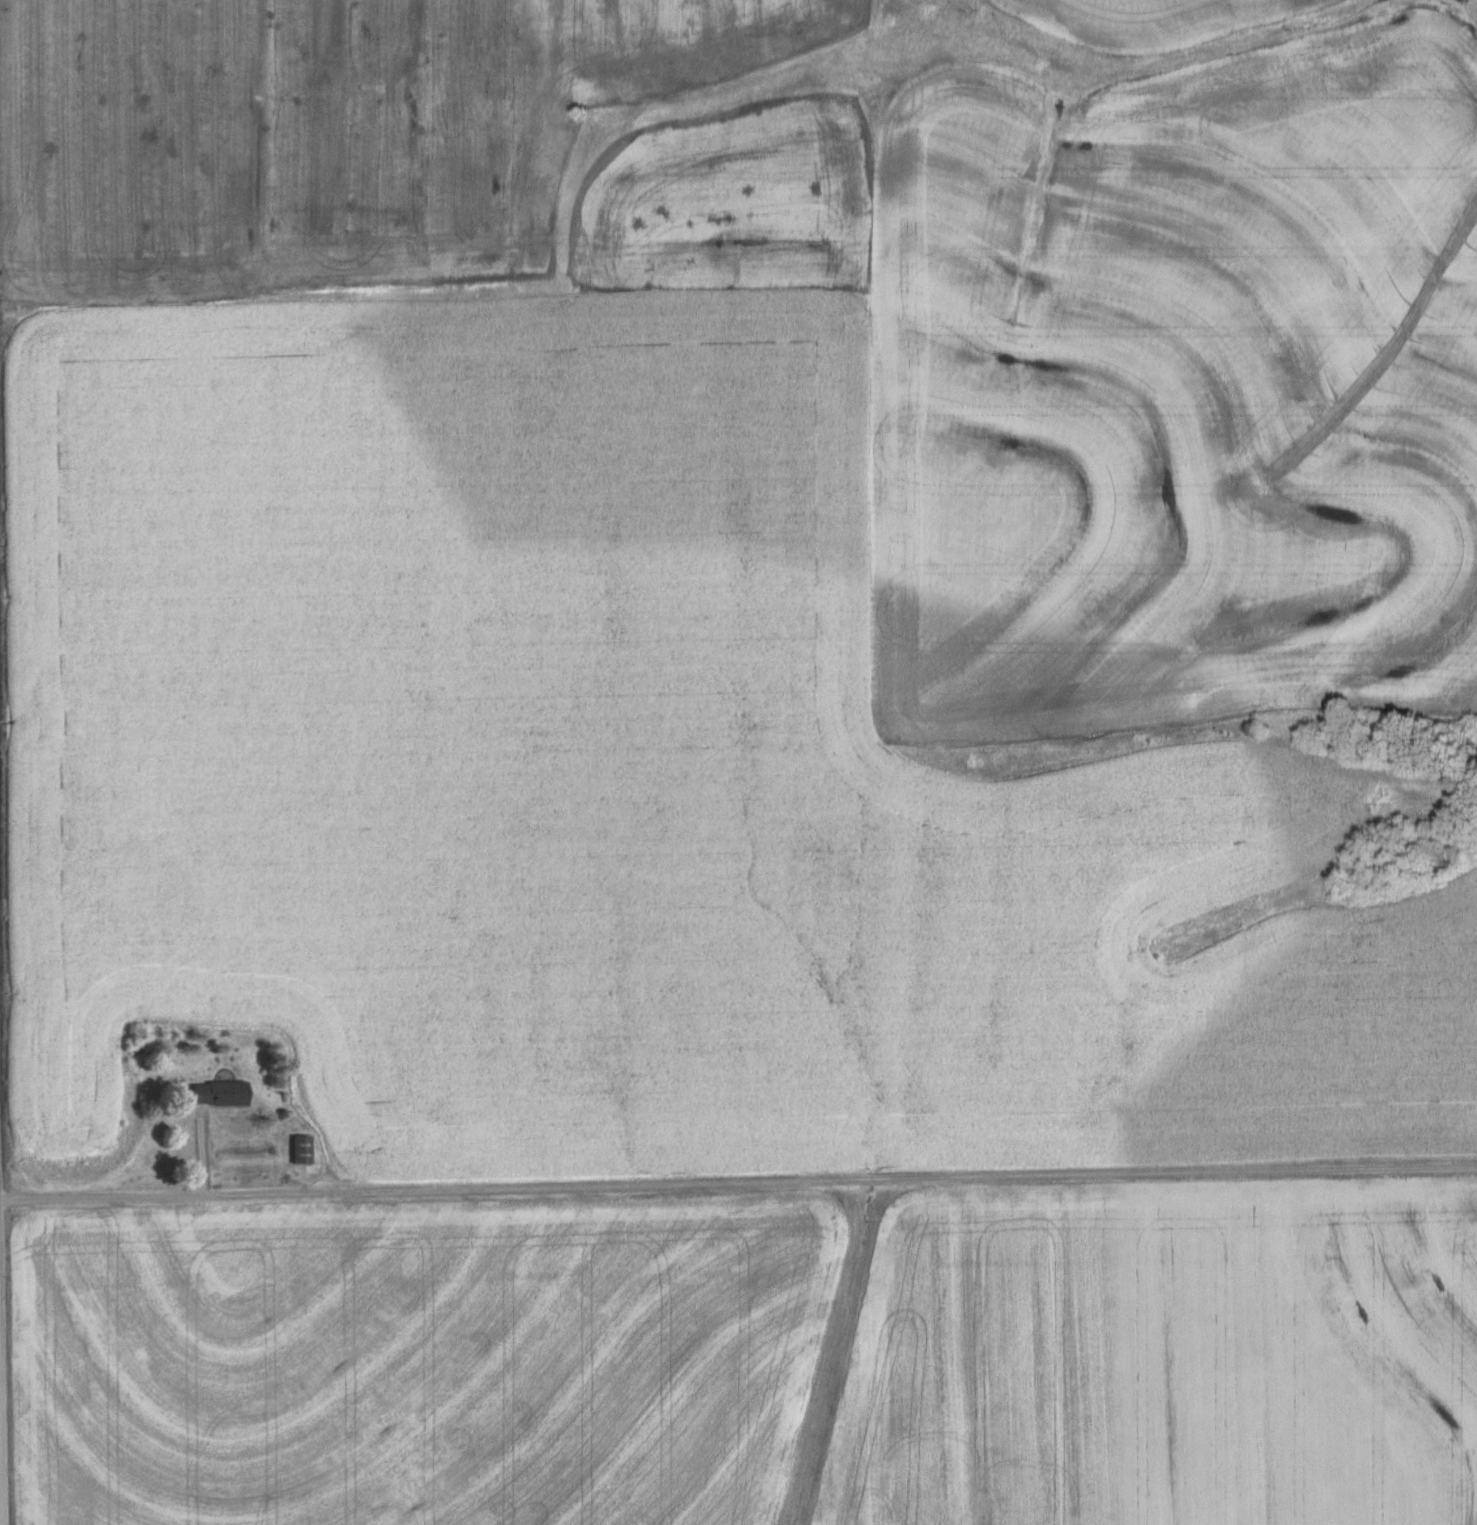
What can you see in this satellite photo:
building: (218, 1092)
building: (301, 1147)
road: (738, 1184)
road: (0, 1484)

